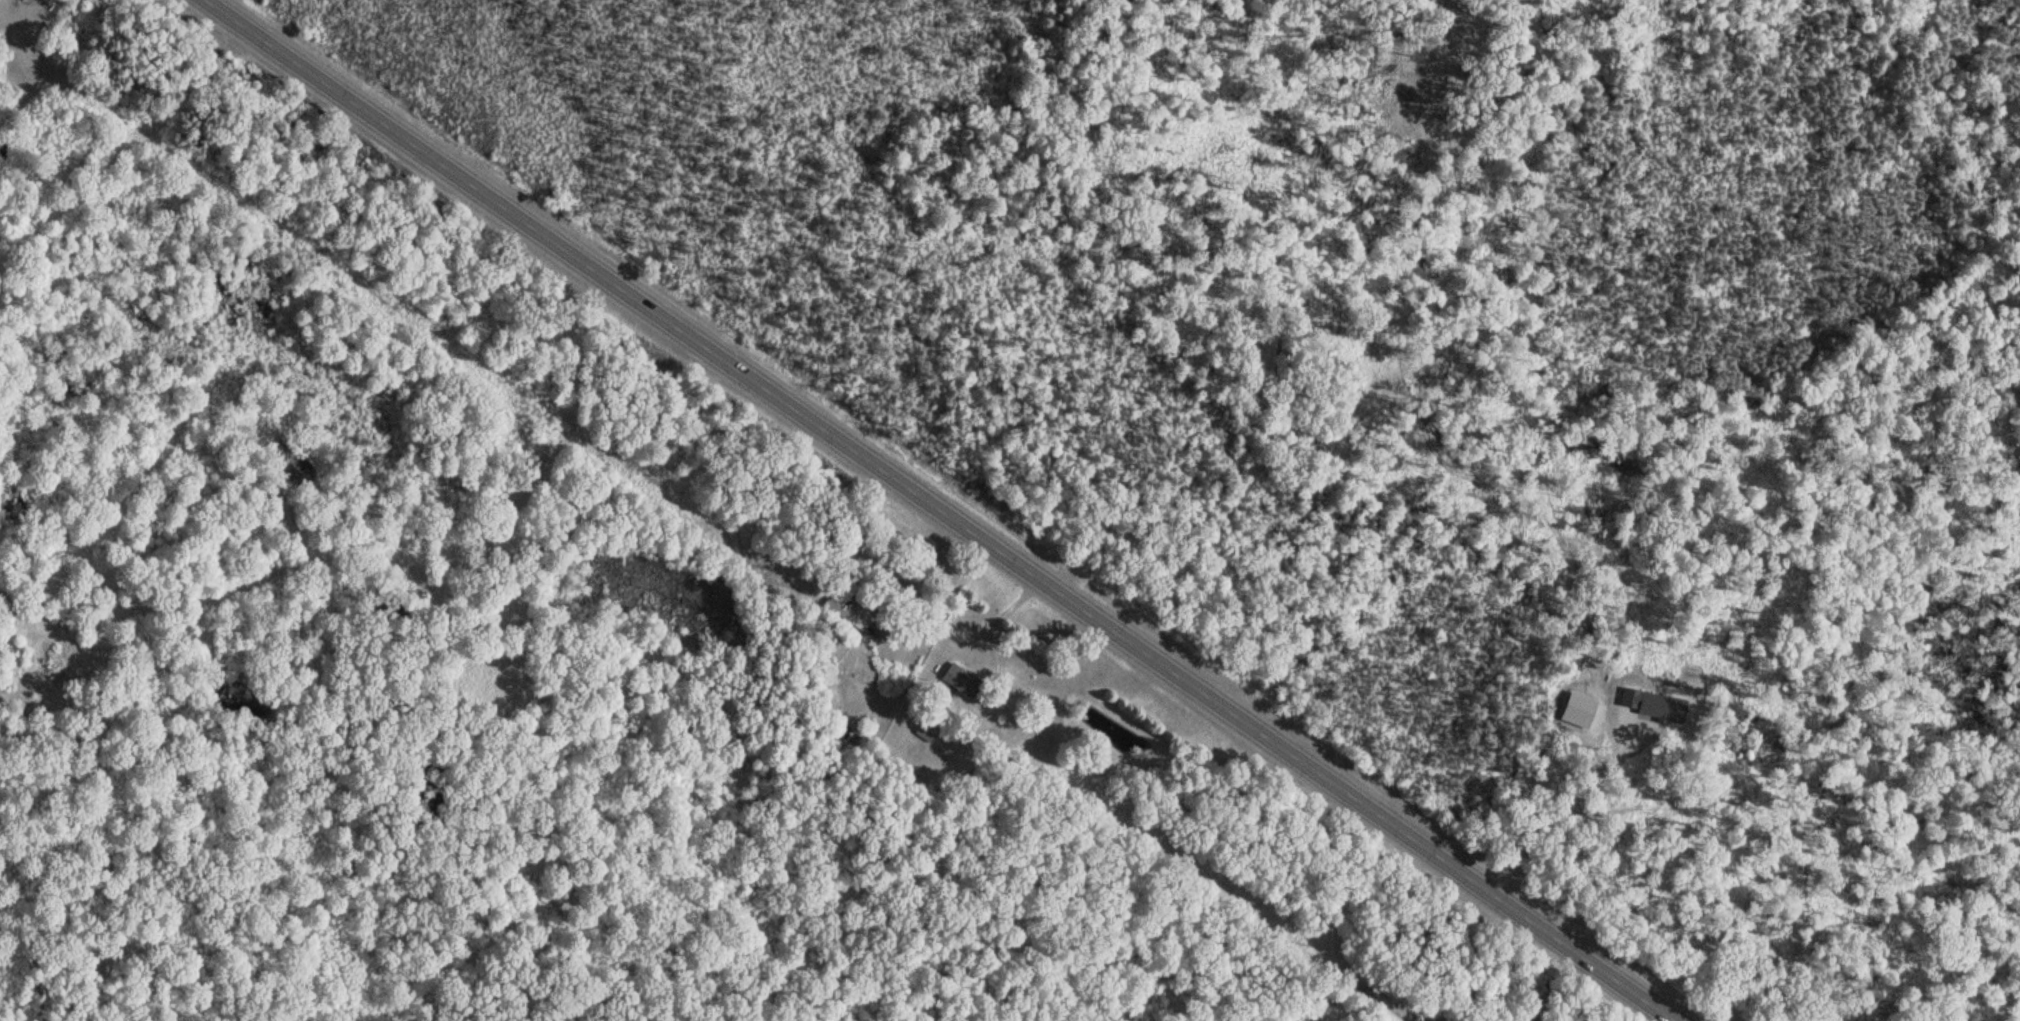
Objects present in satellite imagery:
building: (19, 0)
road: (944, 507)
building: (961, 681)

